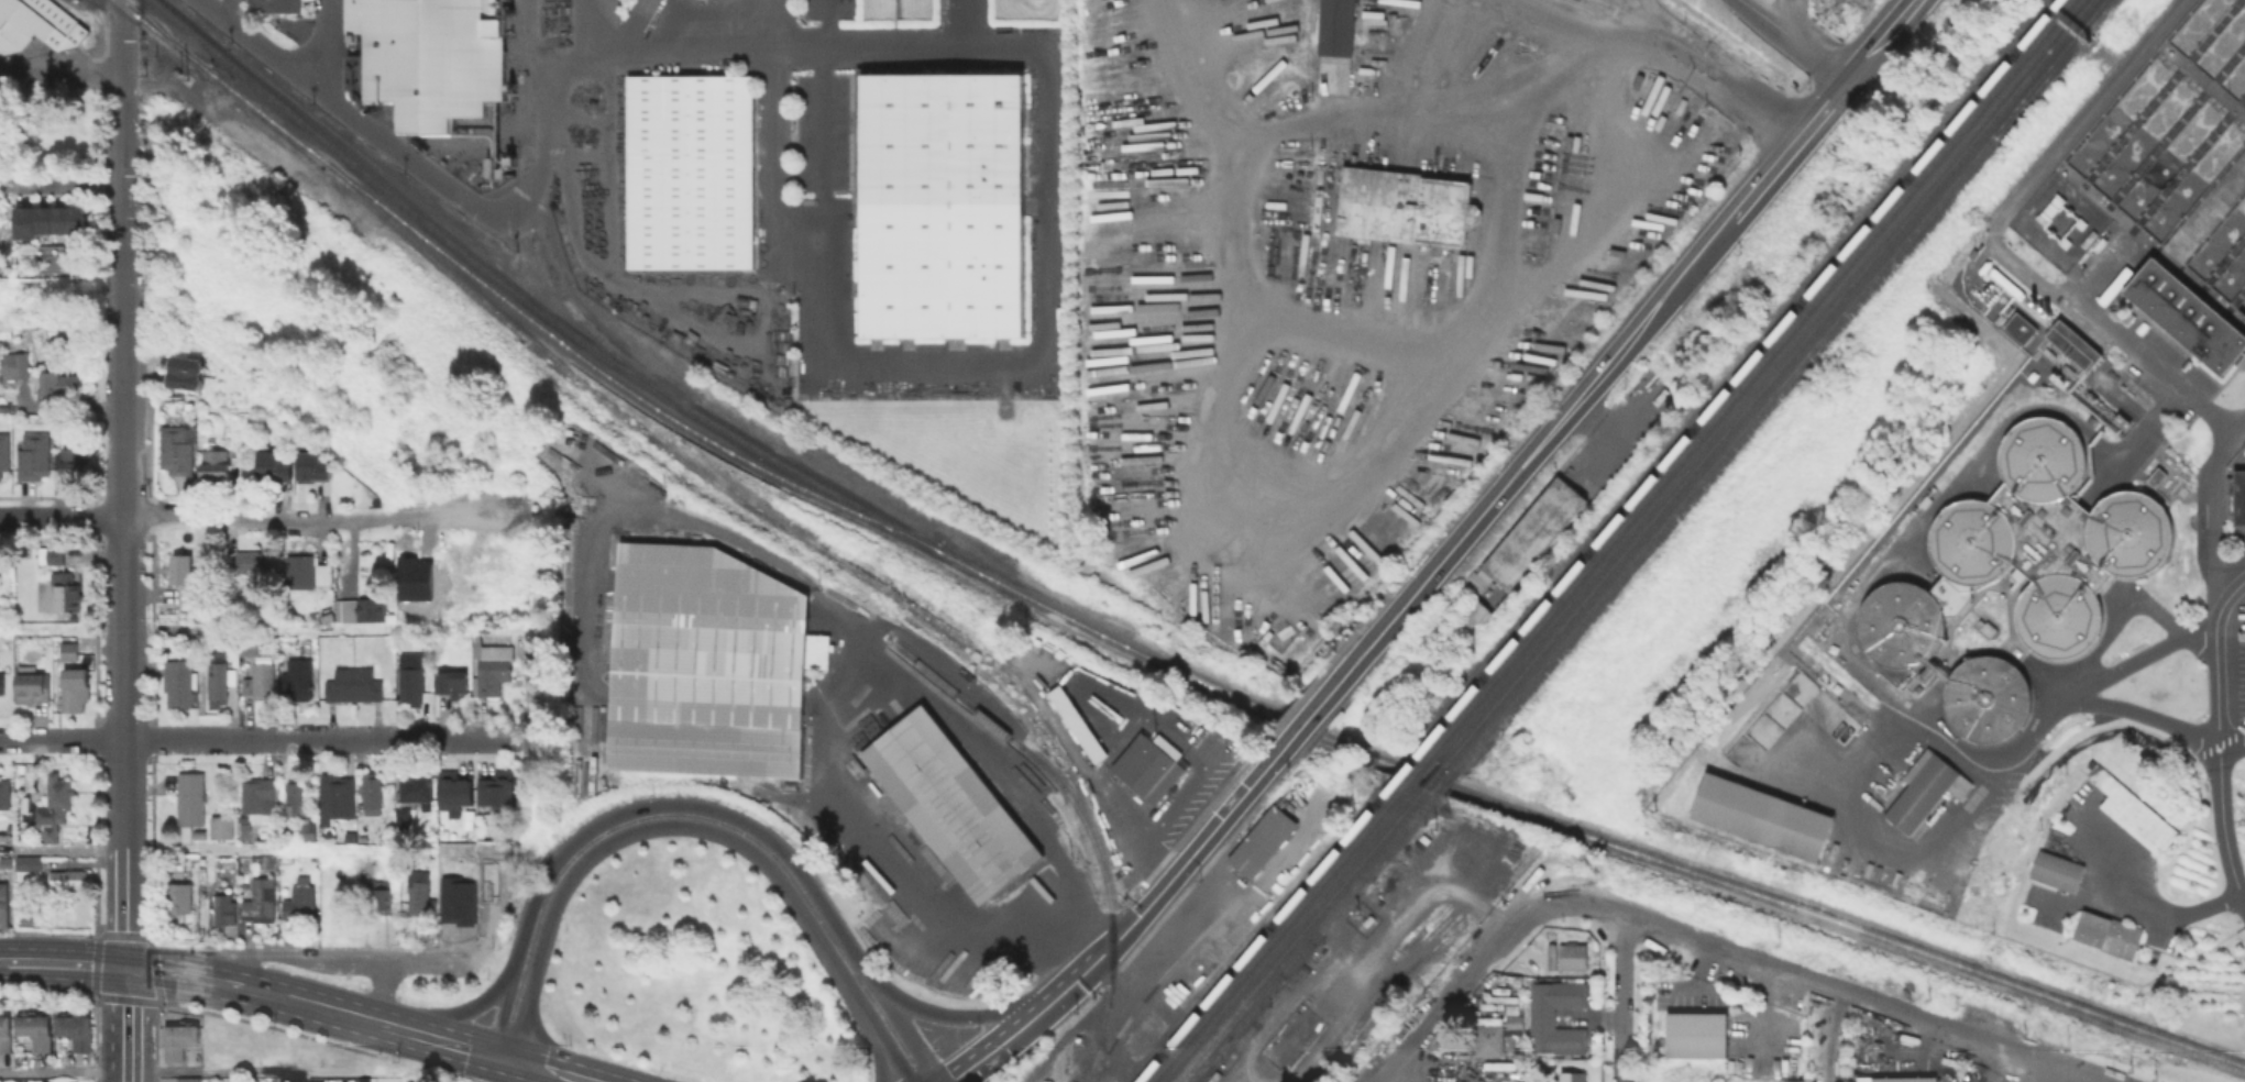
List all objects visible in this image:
building: (272, 5)
road: (1559, 18)
road: (1786, 18)
building: (1333, 26)
building: (40, 27)
railway: (158, 32)
railway: (165, 33)
road: (322, 42)
road: (1792, 42)
road: (1882, 42)
road: (584, 48)
road: (697, 55)
building: (430, 56)
road: (1705, 74)
road: (59, 75)
road: (349, 113)
railway: (265, 114)
road: (1369, 118)
road: (544, 147)
road: (1791, 150)
building: (686, 169)
road: (121, 172)
road: (60, 184)
building: (940, 202)
building: (1401, 205)
building: (55, 221)
railway: (536, 228)
road: (1998, 241)
road: (1482, 296)
building: (2029, 301)
building: (2190, 312)
building: (2017, 325)
building: (4, 330)
building: (57, 330)
road: (1035, 338)
building: (2071, 343)
building: (13, 364)
building: (187, 371)
railway: (1737, 374)
railway: (1749, 376)
railway: (1767, 379)
railway: (615, 380)
building: (59, 382)
railway: (1780, 384)
road: (2076, 423)
road: (1553, 430)
building: (180, 451)
building: (5, 456)
building: (71, 457)
building: (36, 459)
building: (216, 463)
building: (276, 466)
building: (316, 466)
building: (2159, 477)
road: (1339, 494)
building: (2241, 496)
road: (619, 507)
railway: (758, 509)
road: (278, 514)
road: (60, 516)
building: (1531, 531)
building: (2054, 537)
building: (53, 554)
building: (253, 561)
building: (307, 571)
wastewater plant: (2044, 571)
building: (186, 577)
road: (2237, 581)
building: (65, 590)
road: (2226, 593)
building: (371, 609)
building: (1470, 609)
building: (1899, 622)
road: (252, 626)
building: (706, 638)
building: (247, 644)
building: (307, 644)
building: (69, 650)
railway: (1136, 650)
road: (122, 655)
building: (496, 666)
building: (414, 675)
building: (217, 677)
building: (298, 678)
building: (263, 680)
road: (527, 680)
building: (2, 682)
building: (179, 682)
building: (355, 684)
building: (459, 684)
building: (35, 689)
road: (858, 693)
building: (74, 697)
building: (1984, 698)
road: (2141, 709)
road: (1314, 710)
road: (1148, 717)
building: (1075, 722)
road: (473, 737)
road: (146, 738)
road: (323, 738)
road: (392, 738)
building: (703, 748)
railway: (1026, 750)
building: (1147, 764)
railway: (1406, 764)
railway: (1417, 768)
railway: (1434, 774)
road: (1998, 779)
railway: (1445, 780)
building: (418, 790)
building: (1927, 791)
building: (4, 793)
building: (374, 793)
building: (258, 794)
building: (461, 794)
building: (500, 794)
building: (296, 797)
building: (191, 799)
building: (340, 799)
building: (949, 803)
building: (57, 804)
road: (691, 804)
building: (2136, 815)
building: (1764, 817)
building: (404, 818)
road: (2222, 826)
building: (224, 828)
building: (245, 829)
building: (306, 829)
building: (448, 835)
building: (353, 839)
building: (1259, 840)
road: (96, 844)
road: (602, 849)
road: (60, 850)
road: (1163, 853)
building: (5, 861)
building: (29, 861)
road: (1185, 861)
building: (263, 863)
building: (177, 871)
building: (2058, 871)
building: (70, 877)
building: (418, 891)
building: (383, 895)
building: (179, 896)
road: (1566, 901)
building: (300, 902)
building: (260, 903)
building: (3, 904)
road: (2166, 910)
building: (224, 913)
road: (1503, 917)
road: (5, 930)
railway: (1264, 930)
building: (2093, 930)
road: (49, 931)
railway: (1276, 931)
road: (95, 932)
railway: (1297, 934)
road: (1177, 935)
railway: (1311, 936)
road: (245, 939)
building: (2124, 941)
road: (340, 945)
road: (1075, 945)
road: (152, 946)
road: (285, 956)
building: (1550, 956)
building: (1574, 957)
road: (425, 961)
road: (7, 962)
road: (69, 963)
traffic signals: (125, 968)
road: (156, 972)
road: (1079, 974)
railway: (1153, 983)
road: (1836, 984)
road: (381, 992)
railway: (1108, 994)
road: (1622, 996)
road: (850, 998)
road: (299, 1001)
road: (1446, 1002)
road: (158, 1005)
building: (1514, 1009)
road: (465, 1013)
road: (502, 1015)
road: (960, 1016)
building: (1549, 1022)
road: (128, 1024)
road: (287, 1030)
building: (1693, 1033)
building: (80, 1034)
road: (1830, 1034)
building: (42, 1035)
road: (905, 1035)
building: (1495, 1035)
building: (8, 1037)
building: (178, 1042)
road: (1000, 1045)
road: (455, 1046)
road: (796, 1048)
traffic signals: (503, 1059)
road: (1412, 1063)
road: (544, 1070)
road: (184, 1071)
road: (2047, 1071)
road: (2078, 1071)
building: (1573, 1077)
building: (365, 1078)
building: (1902, 1078)
building: (44, 1081)
building: (189, 1081)

